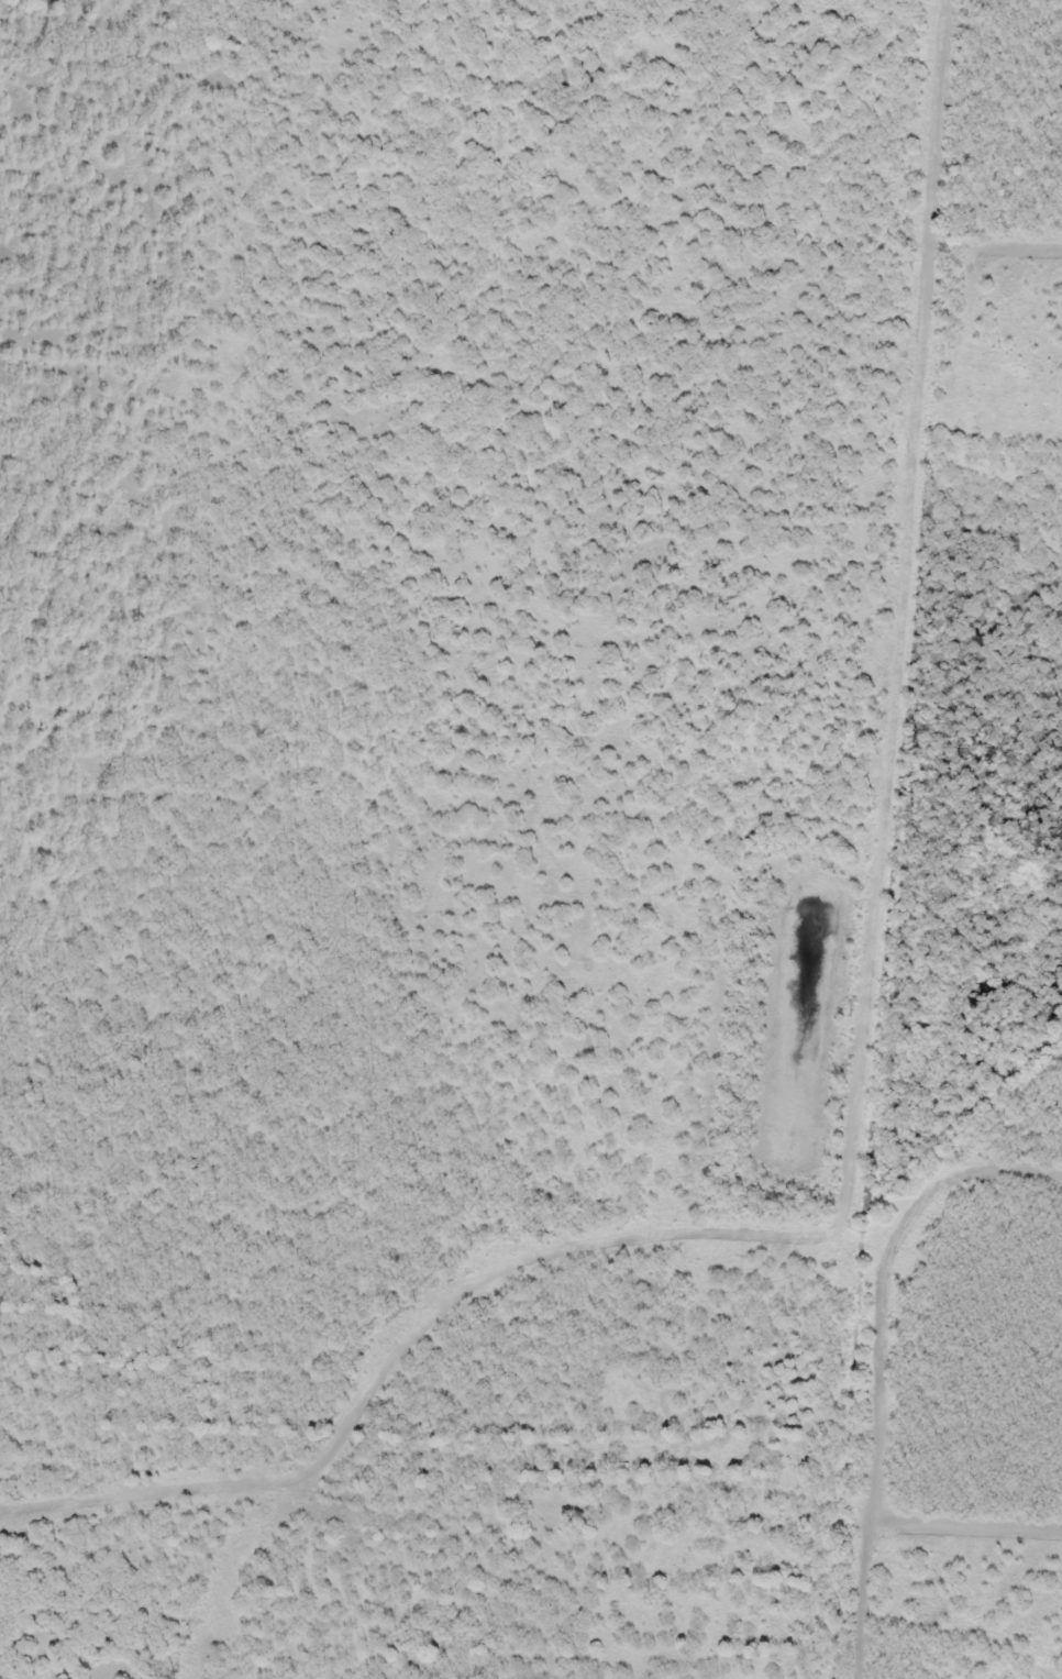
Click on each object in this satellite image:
road: (363, 763)
road: (904, 841)

